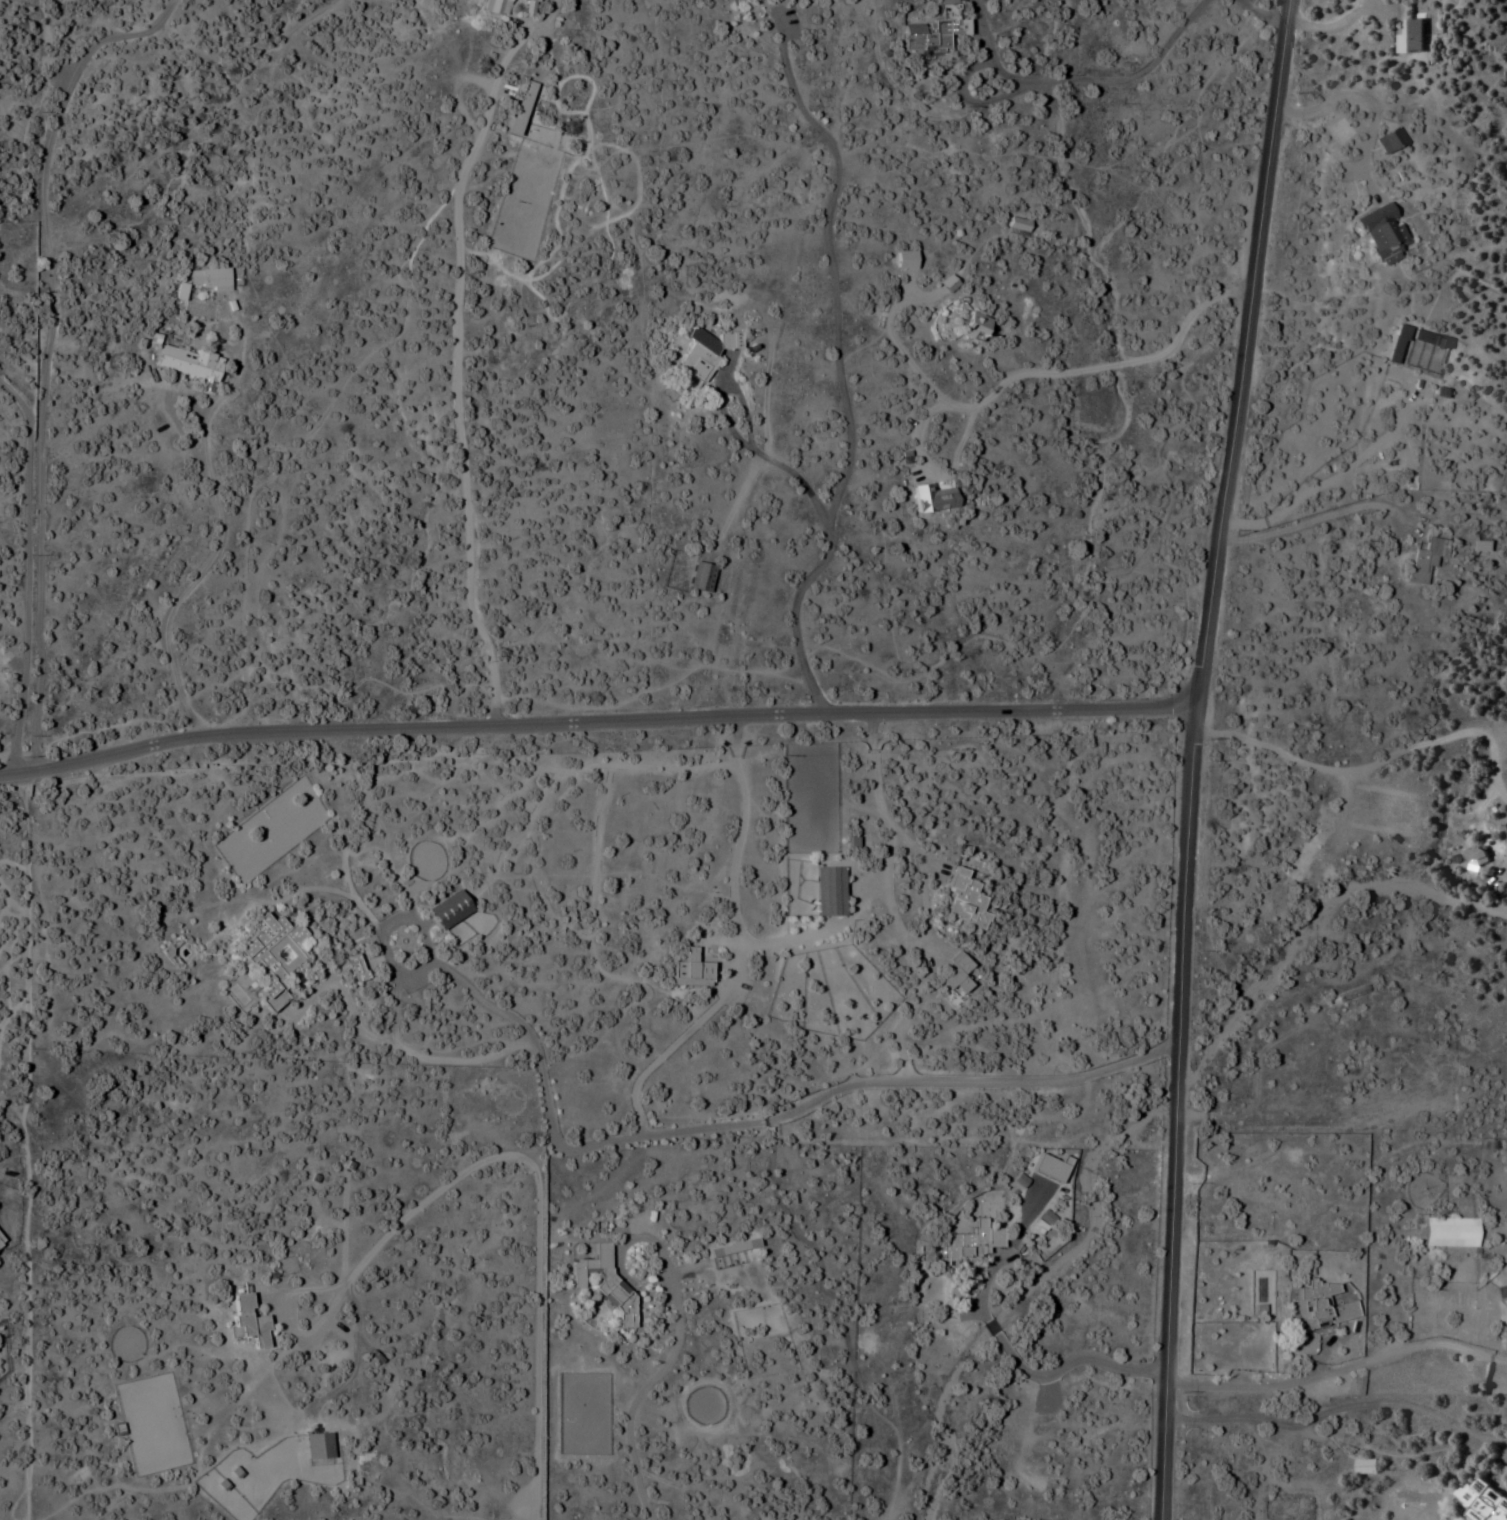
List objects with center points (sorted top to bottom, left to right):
building: (494, 7)
building: (932, 29)
building: (1407, 44)
building: (519, 108)
building: (1385, 141)
building: (1015, 224)
building: (1380, 233)
building: (200, 282)
building: (972, 327)
building: (703, 352)
building: (184, 363)
building: (929, 498)
building: (1477, 546)
building: (1423, 560)
building: (698, 577)
road: (595, 722)
road: (1190, 757)
building: (1474, 856)
building: (827, 891)
building: (961, 903)
building: (446, 910)
building: (271, 949)
building: (687, 970)
building: (954, 974)
road: (773, 1120)
building: (1254, 1155)
building: (1447, 1232)
building: (968, 1242)
building: (0, 1244)
building: (730, 1248)
building: (602, 1283)
building: (1318, 1306)
road: (990, 1309)
building: (247, 1322)
road: (1000, 1324)
road: (1080, 1357)
road: (1338, 1387)
building: (1363, 1467)
building: (1481, 1501)

